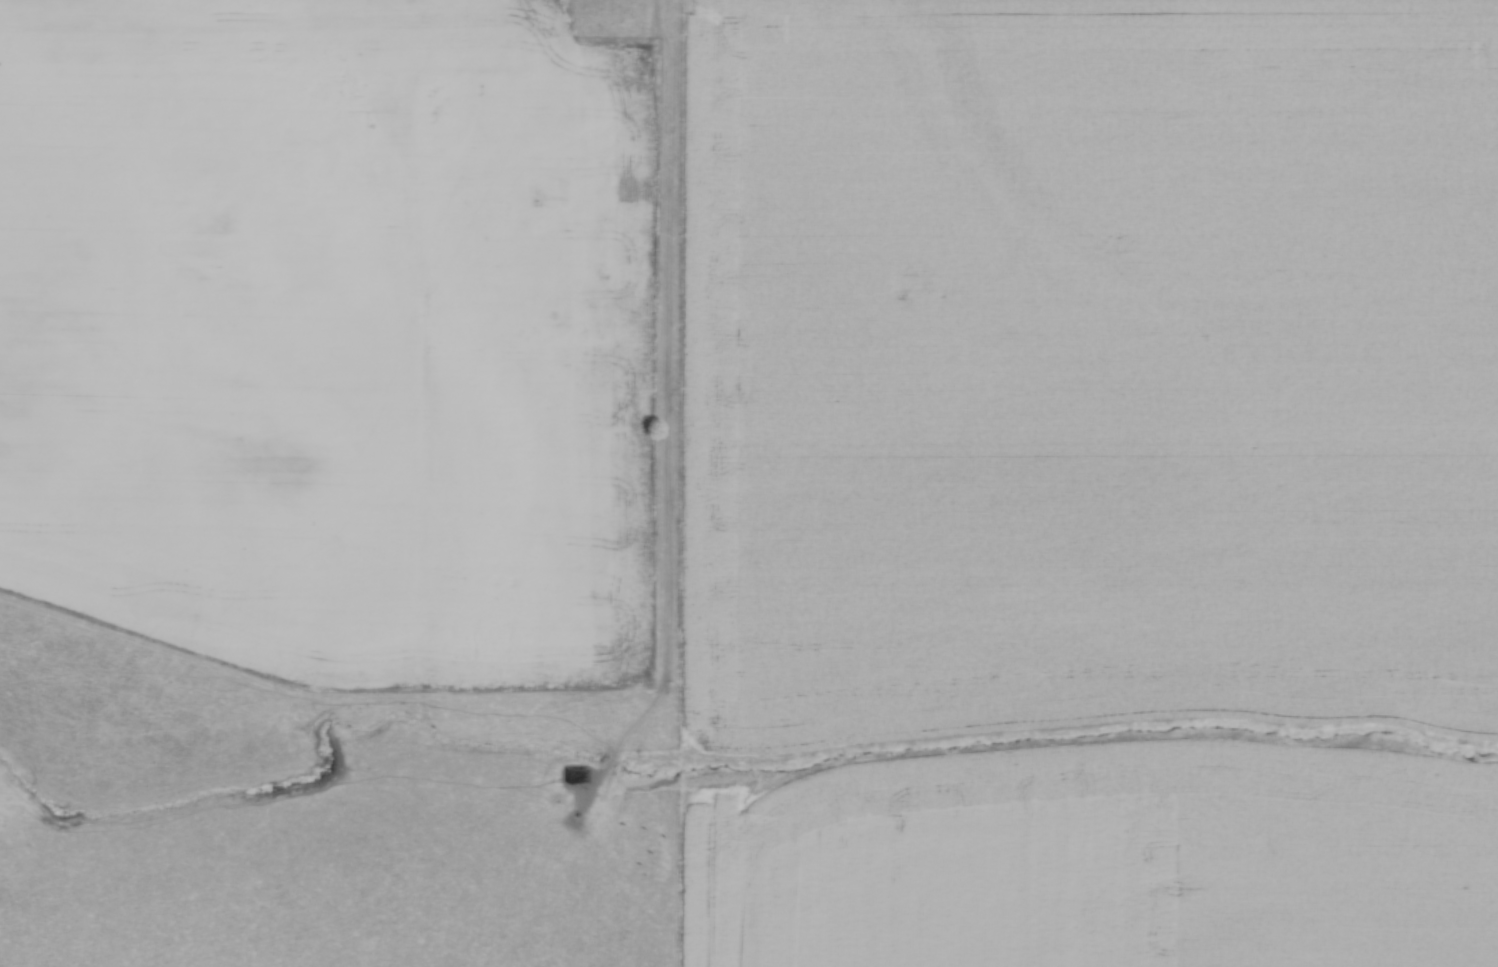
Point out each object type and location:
building: (595, 26)
road: (656, 49)
building: (443, 102)
building: (638, 187)

